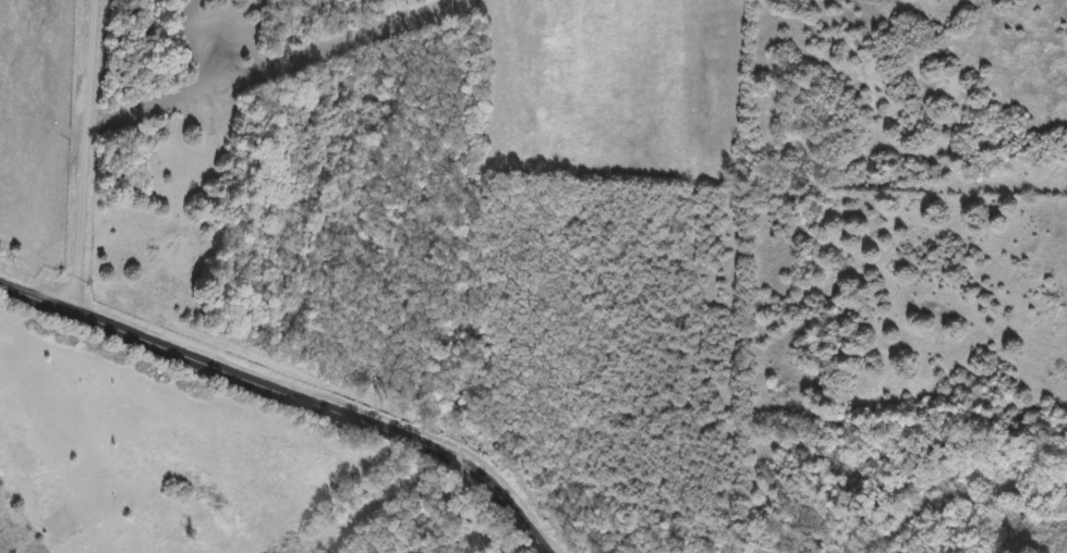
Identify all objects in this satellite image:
road: (86, 156)
road: (290, 392)
building: (1058, 517)
road: (499, 530)
road: (413, 541)

